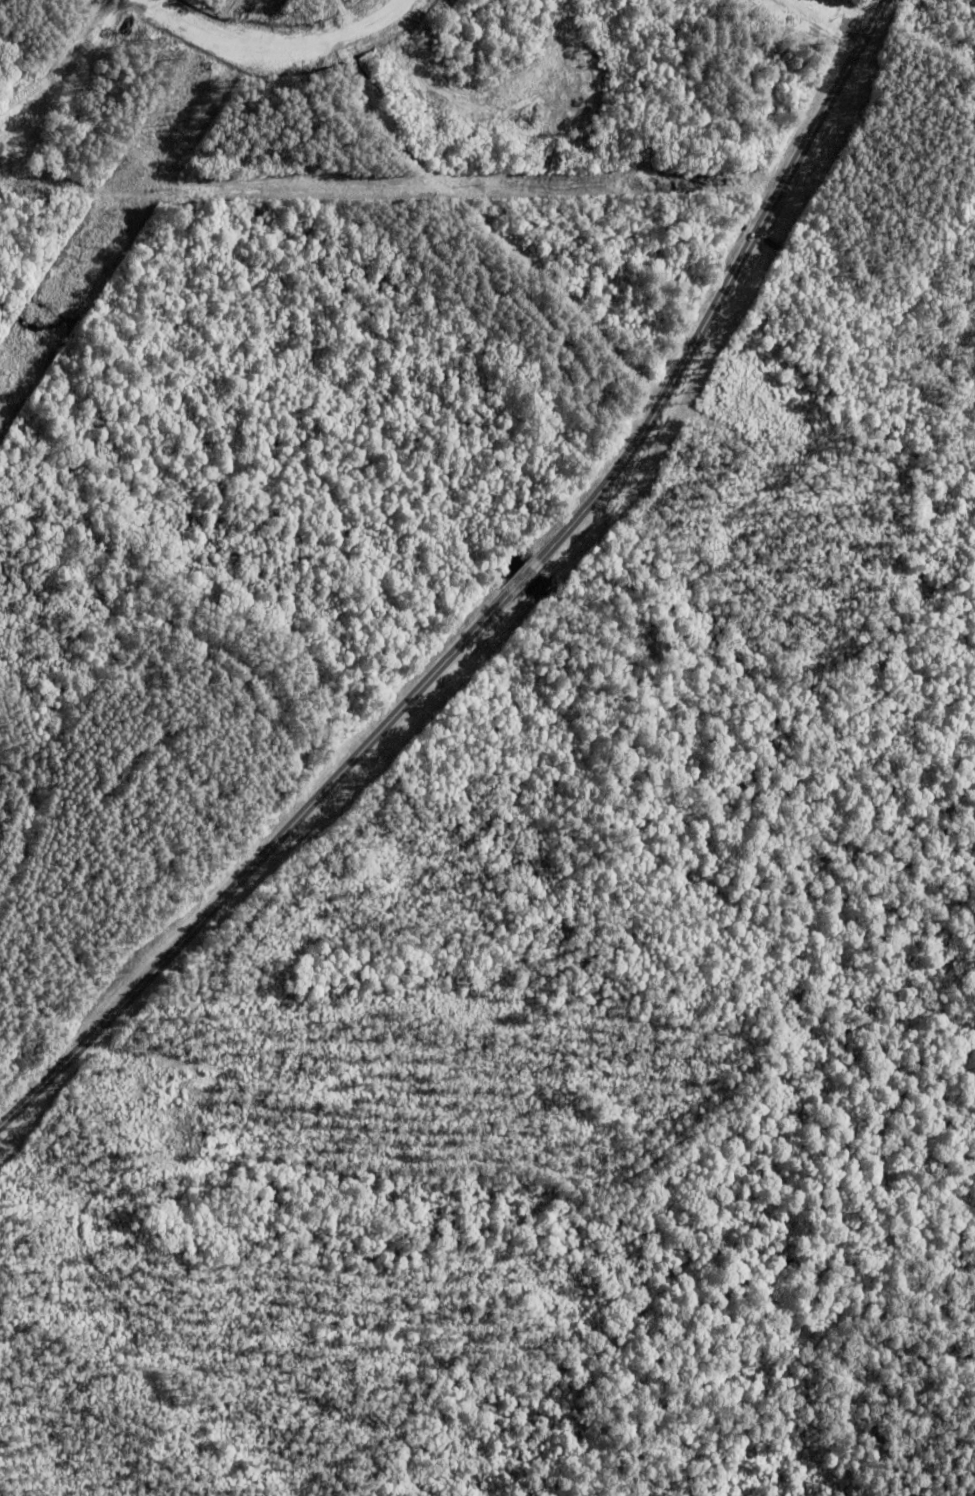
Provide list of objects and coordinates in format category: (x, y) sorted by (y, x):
road: (474, 215)
road: (498, 604)

